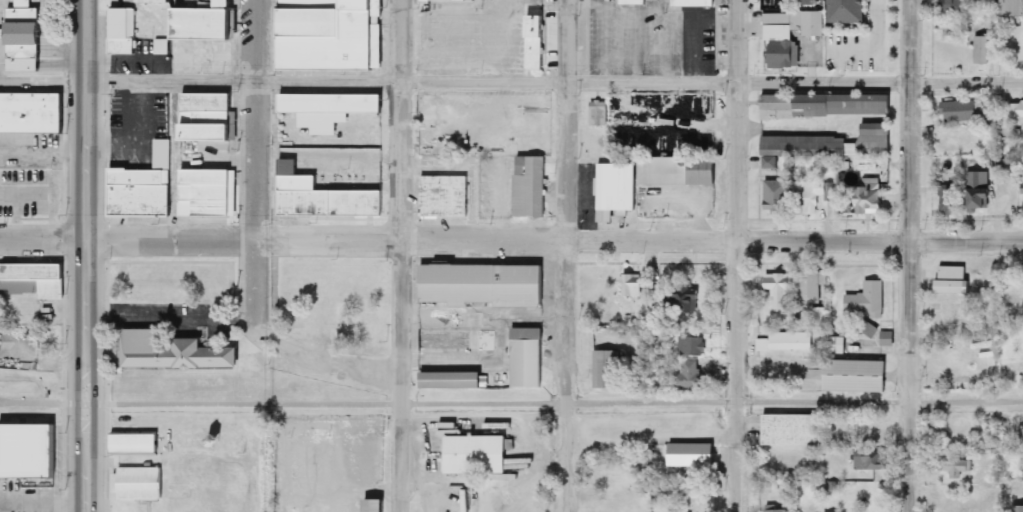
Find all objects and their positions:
building: (538, 0)
building: (163, 2)
building: (428, 2)
building: (785, 2)
building: (634, 3)
building: (692, 3)
building: (312, 4)
building: (948, 5)
building: (1008, 8)
building: (841, 11)
building: (25, 23)
building: (537, 27)
building: (123, 32)
building: (379, 32)
building: (783, 35)
building: (209, 37)
building: (329, 37)
road: (911, 39)
building: (979, 50)
building: (537, 54)
building: (25, 56)
road: (499, 75)
road: (44, 77)
road: (967, 78)
building: (209, 100)
building: (333, 104)
building: (822, 105)
building: (955, 111)
building: (32, 113)
building: (1015, 114)
building: (598, 115)
road: (258, 116)
building: (209, 117)
building: (210, 134)
building: (956, 142)
building: (832, 143)
building: (680, 171)
building: (530, 187)
building: (617, 190)
building: (141, 191)
building: (210, 191)
building: (973, 191)
building: (778, 196)
building: (325, 197)
building: (445, 197)
building: (811, 198)
building: (863, 199)
building: (942, 200)
road: (44, 234)
road: (555, 234)
road: (567, 255)
road: (736, 255)
road: (88, 256)
road: (401, 256)
building: (946, 280)
building: (31, 282)
building: (484, 285)
road: (258, 286)
building: (633, 286)
building: (813, 289)
building: (783, 290)
road: (910, 295)
building: (687, 301)
building: (867, 301)
road: (483, 314)
building: (951, 315)
building: (459, 339)
building: (784, 343)
building: (690, 346)
building: (529, 349)
building: (174, 352)
road: (332, 357)
railway: (220, 368)
building: (607, 369)
building: (690, 375)
building: (857, 376)
road: (565, 403)
road: (32, 404)
road: (86, 404)
building: (795, 430)
building: (874, 430)
building: (1019, 431)
building: (136, 443)
building: (29, 451)
building: (479, 455)
building: (693, 455)
building: (870, 461)
building: (956, 466)
building: (140, 484)
building: (377, 505)
building: (778, 510)

